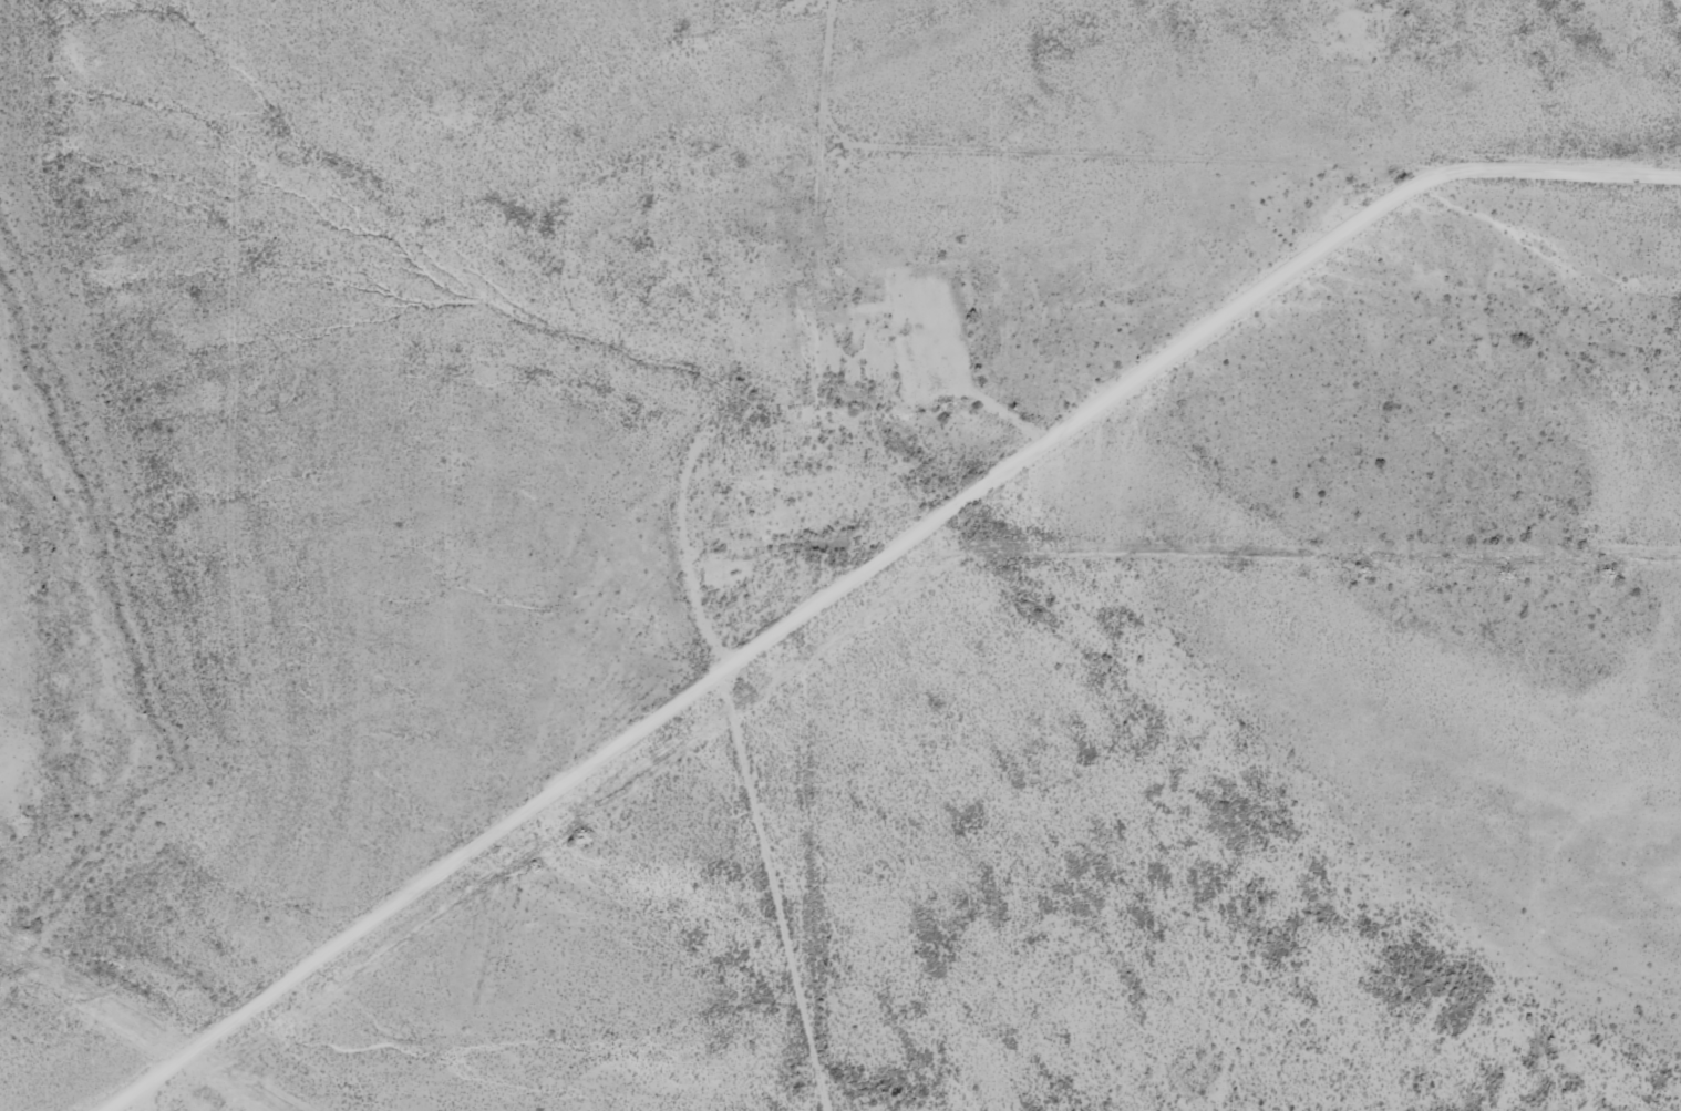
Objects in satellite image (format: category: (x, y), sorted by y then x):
road: (1674, 8)
road: (864, 578)

